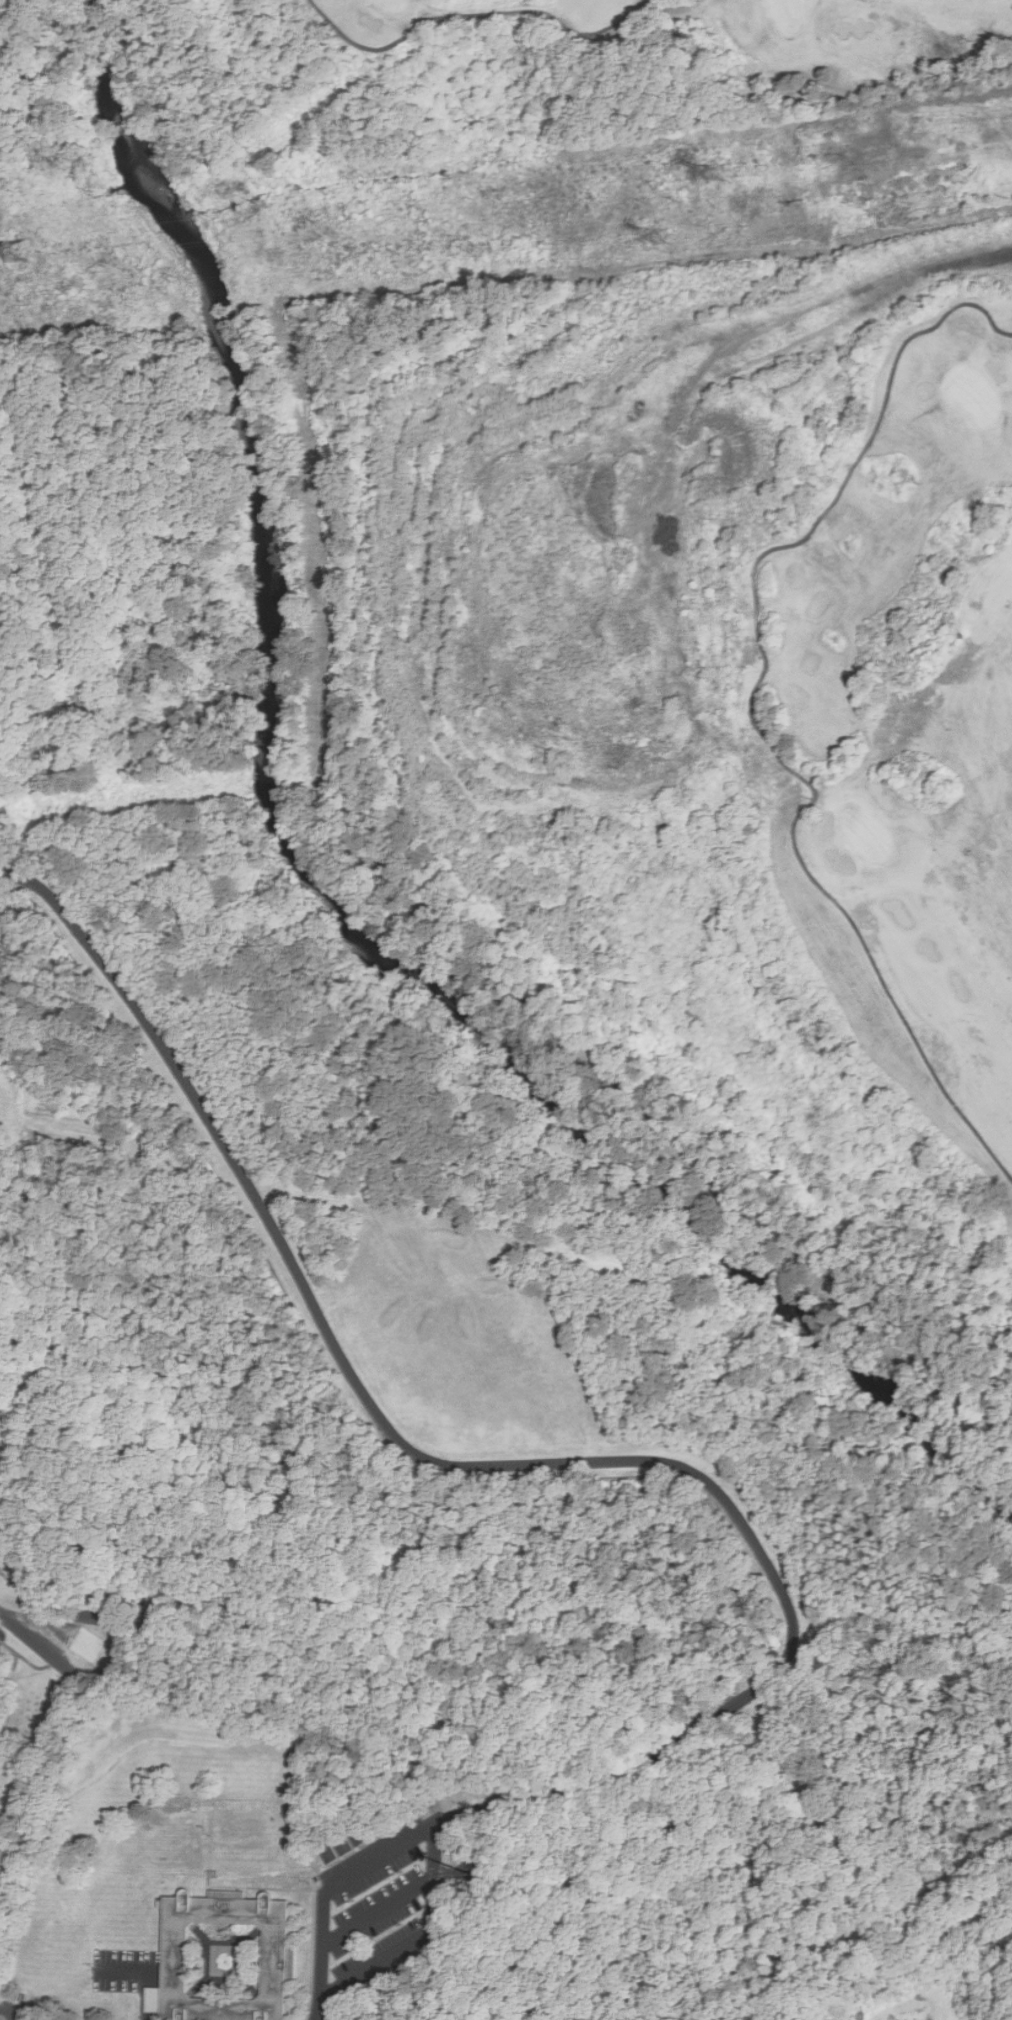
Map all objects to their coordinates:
park: (387, 1)
road: (525, 3)
park: (787, 13)
road: (595, 26)
road: (411, 41)
river: (115, 100)
road: (953, 118)
power tower: (716, 175)
river: (166, 204)
power tower: (657, 239)
power tower: (20, 257)
river: (223, 307)
road: (767, 358)
park: (962, 399)
park: (654, 580)
road: (767, 701)
park: (849, 839)
river: (482, 1025)
road: (630, 1460)
road: (92, 1614)
road: (22, 1631)
road: (77, 1676)
building: (330, 1854)
building: (467, 1873)
road: (377, 1912)
road: (419, 1936)
building: (279, 1963)
road: (147, 1972)
park: (923, 2005)

